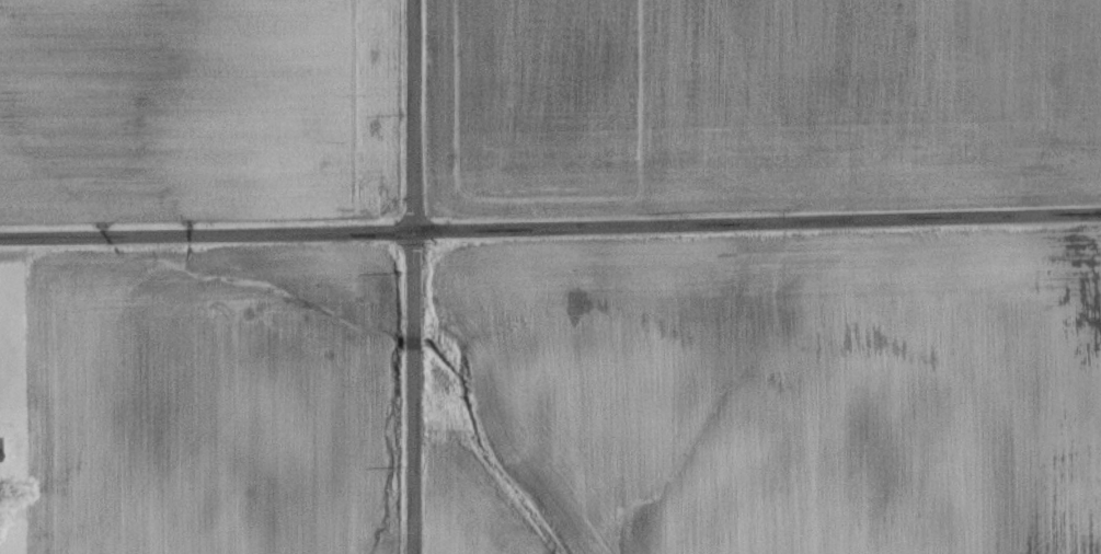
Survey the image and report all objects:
crop: (756, 107)
road: (550, 228)
road: (412, 276)

